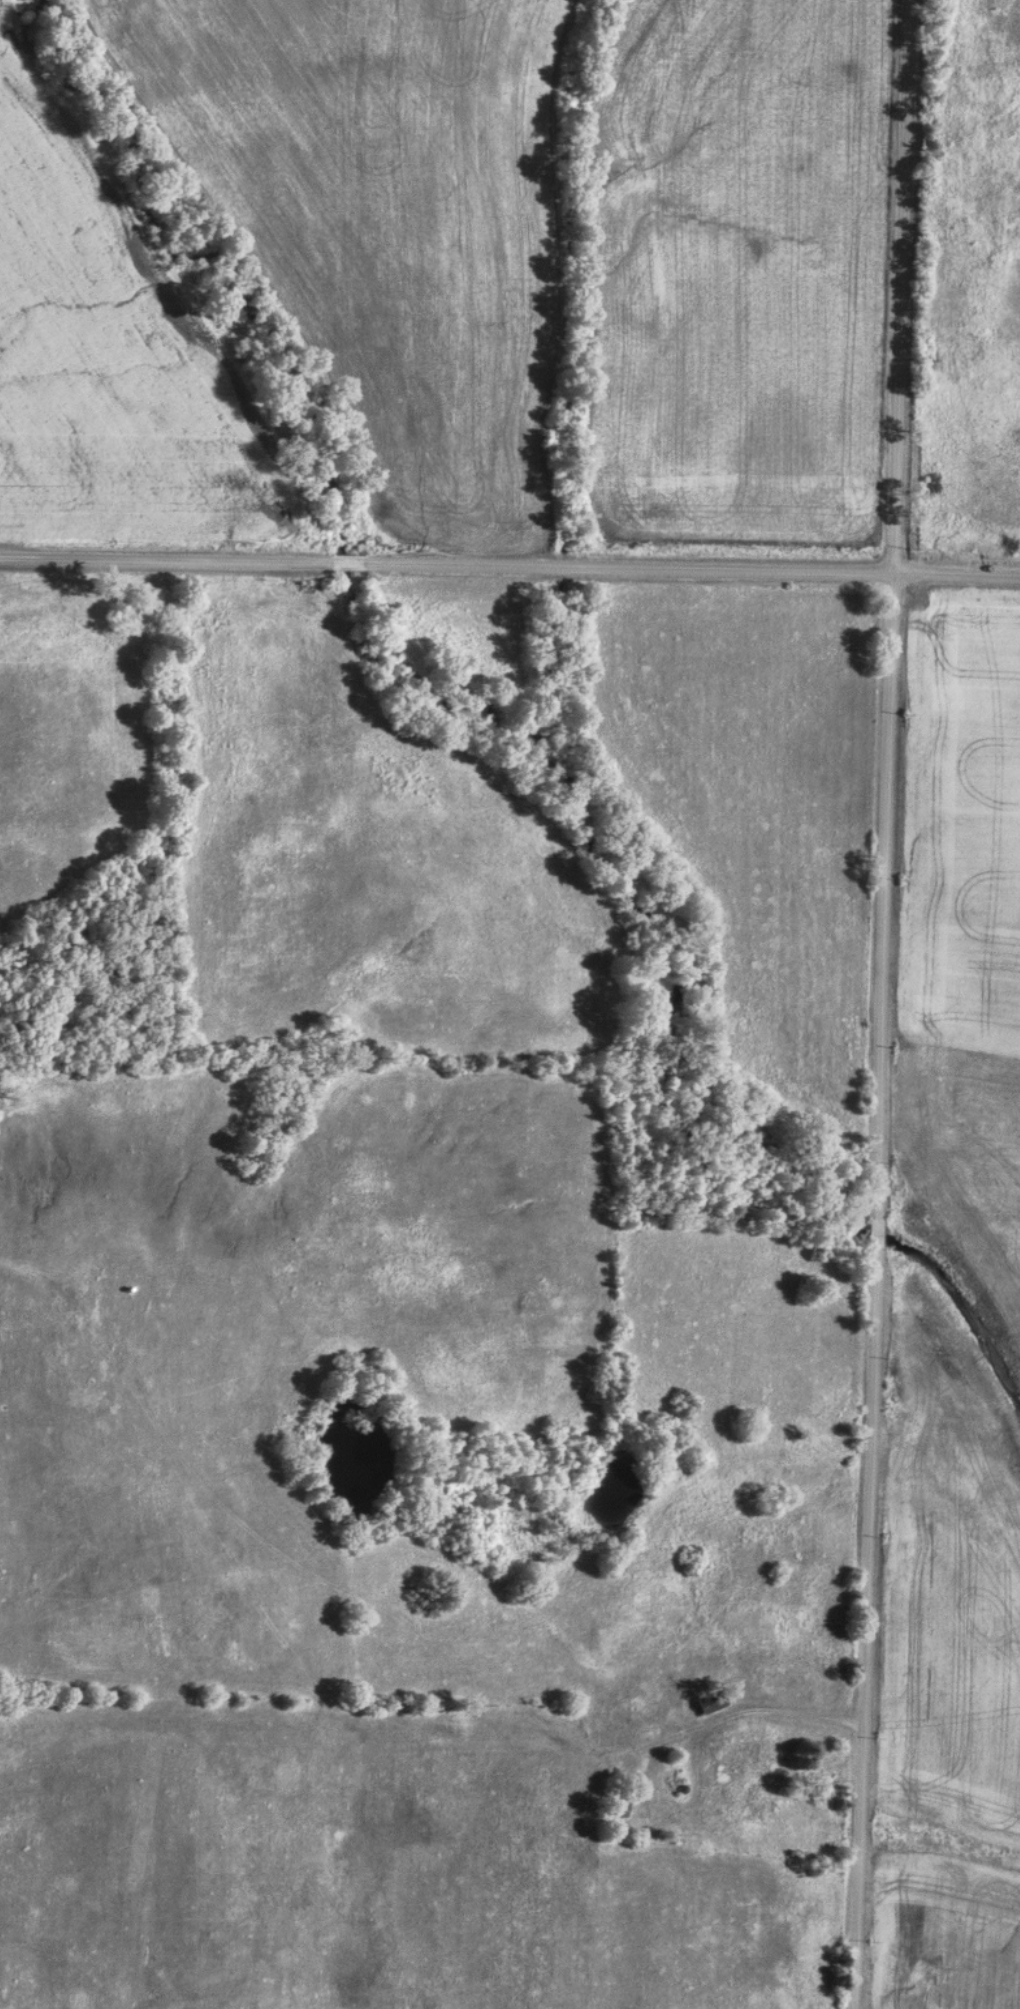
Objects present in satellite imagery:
road: (509, 567)
road: (882, 1004)

